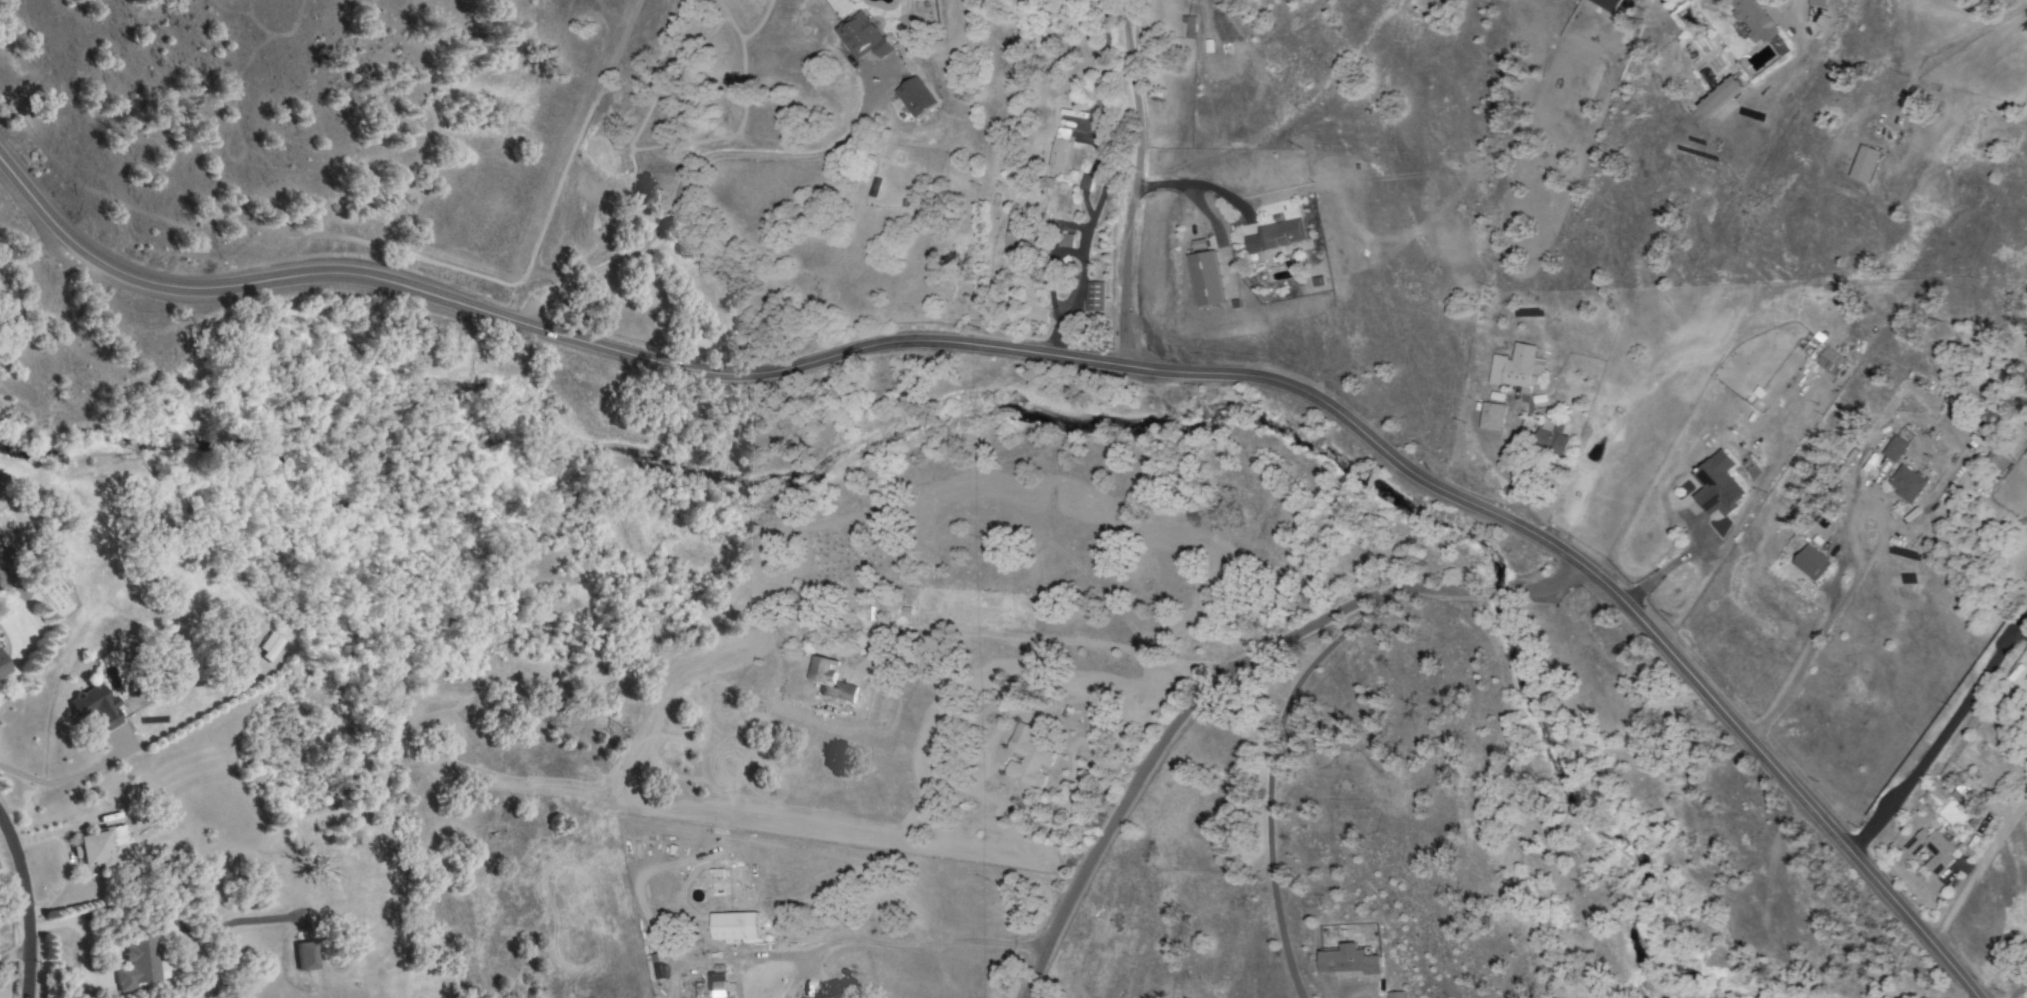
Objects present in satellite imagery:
building: (1817, 3)
building: (1607, 4)
building: (1752, 19)
road: (1112, 21)
building: (1189, 27)
building: (862, 35)
building: (1720, 96)
building: (915, 97)
building: (1058, 148)
building: (1864, 163)
building: (1084, 182)
road: (1197, 183)
road: (1133, 184)
building: (874, 187)
building: (1022, 233)
road: (1085, 234)
building: (1275, 235)
building: (1063, 240)
road: (393, 250)
building: (1204, 278)
building: (1093, 296)
building: (1823, 356)
road: (1081, 364)
building: (1517, 368)
building: (1490, 416)
building: (1552, 438)
building: (1894, 448)
building: (1996, 460)
road: (1504, 470)
building: (1906, 483)
building: (1717, 485)
road: (1738, 525)
building: (1811, 562)
road: (1847, 589)
road: (1551, 590)
road: (1496, 595)
road: (2020, 636)
road: (1076, 641)
building: (234, 642)
building: (268, 646)
building: (2, 669)
building: (823, 670)
building: (839, 692)
building: (95, 707)
road: (1187, 713)
road: (1941, 735)
building: (1027, 757)
road: (64, 778)
road: (1267, 780)
building: (1963, 796)
building: (99, 845)
building: (1931, 849)
road: (1977, 869)
road: (23, 911)
building: (735, 926)
road: (918, 945)
road: (13, 956)
building: (305, 956)
building: (1349, 960)
building: (132, 962)
building: (719, 989)
road: (2017, 990)
building: (1396, 994)

